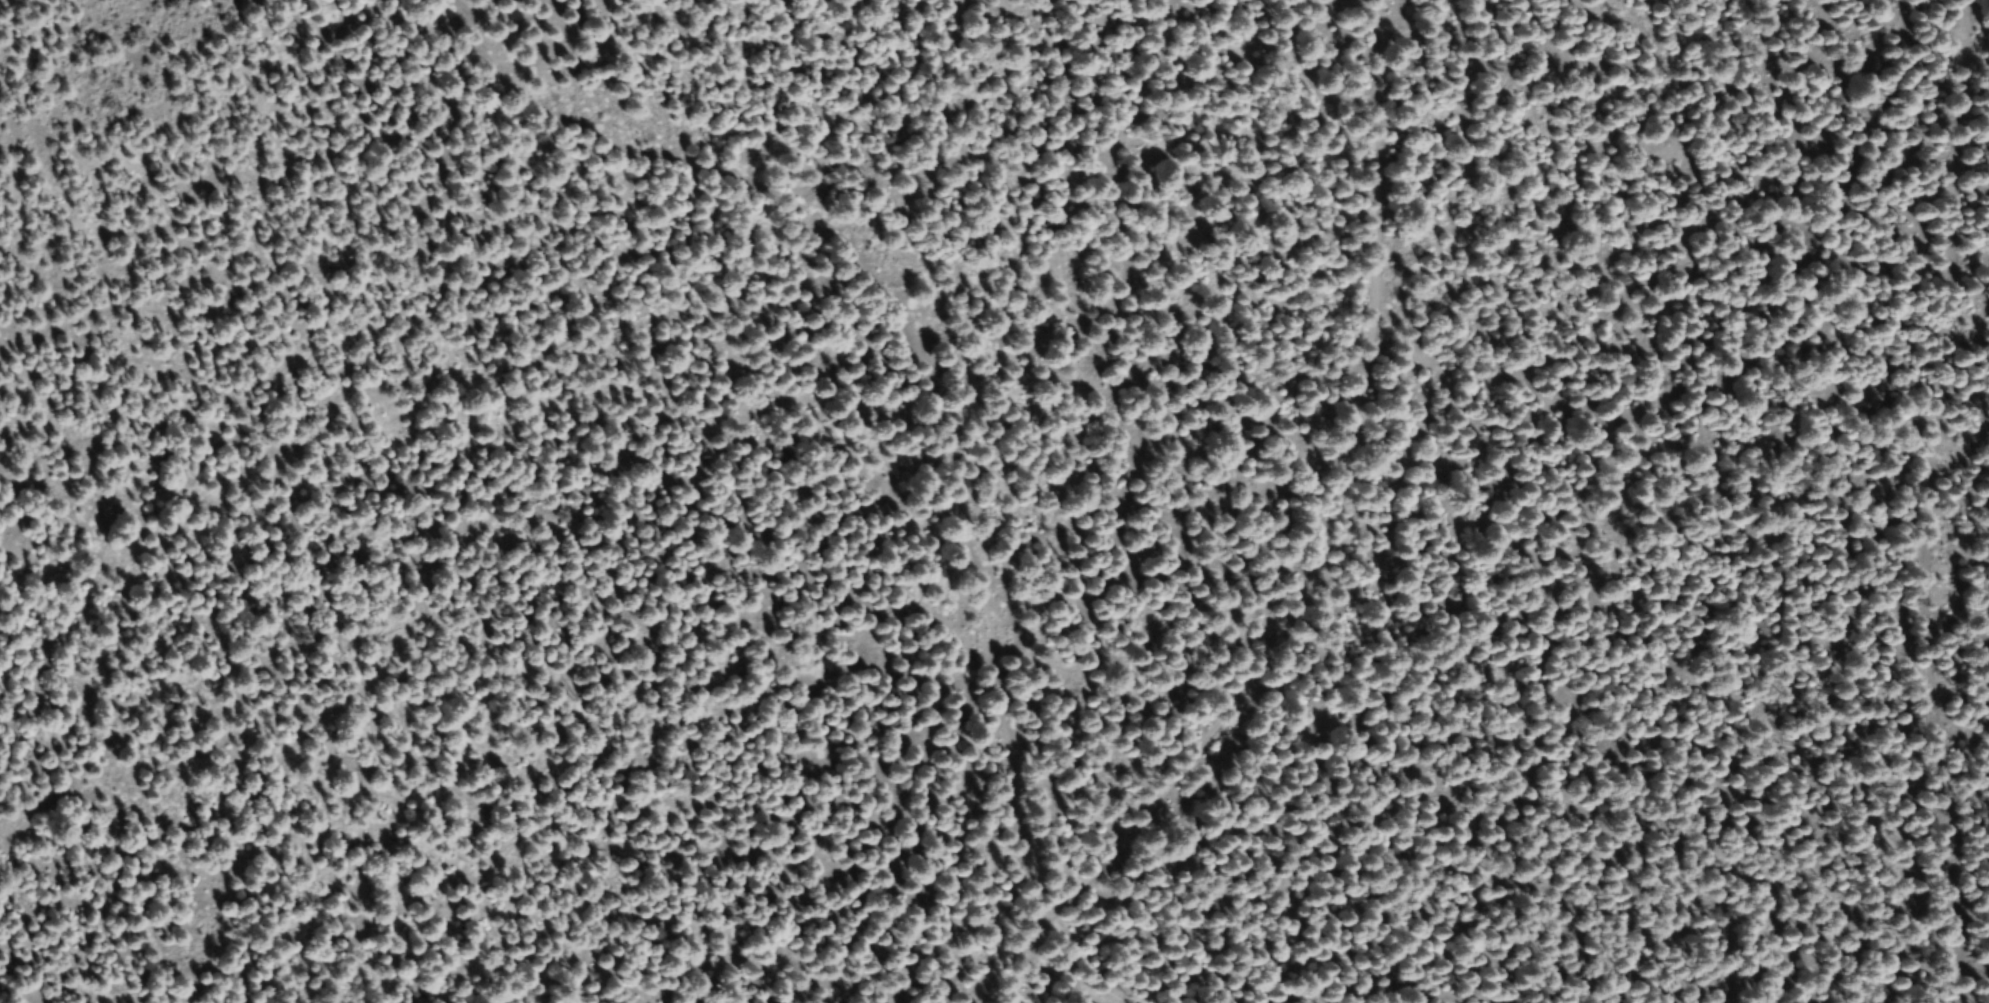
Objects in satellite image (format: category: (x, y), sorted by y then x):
road: (1358, 514)

